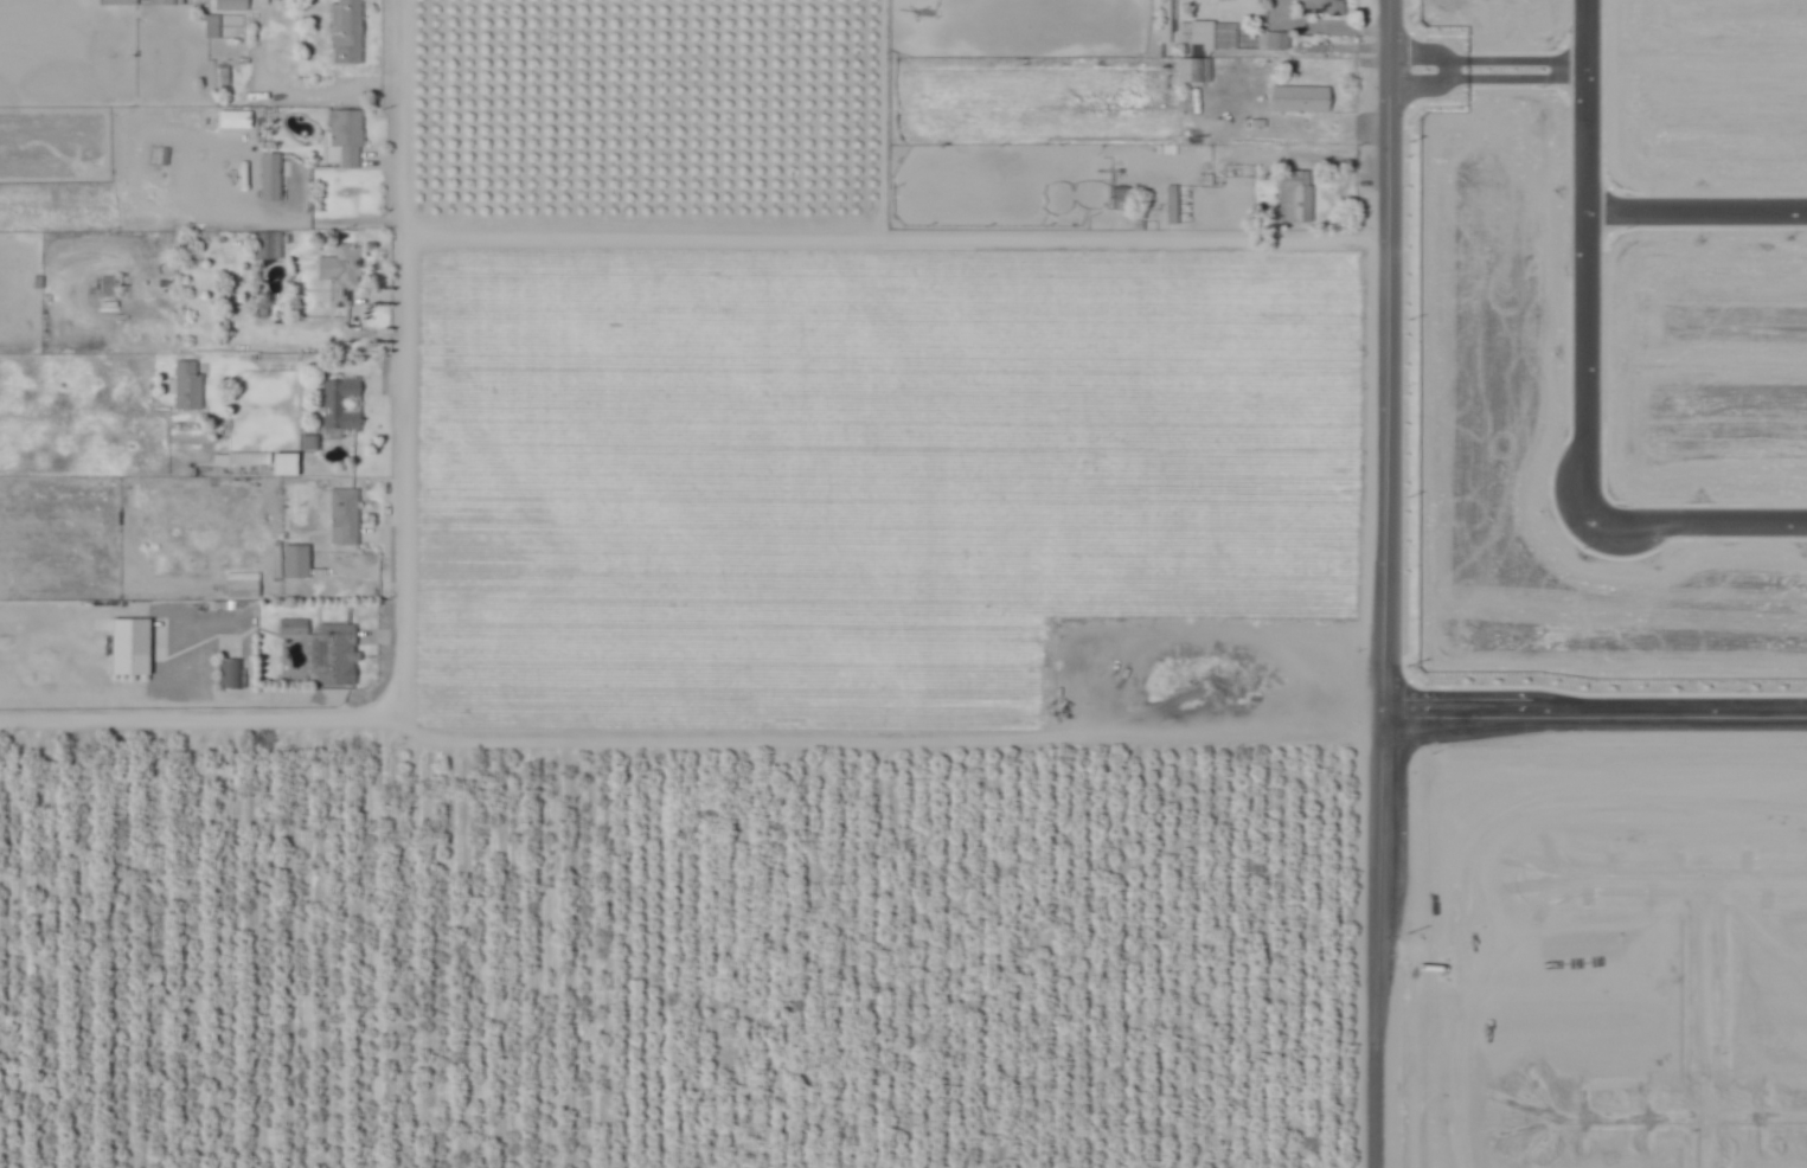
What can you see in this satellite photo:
building: (116, 1)
building: (174, 2)
building: (232, 5)
building: (1325, 6)
building: (210, 25)
road: (1319, 27)
building: (1185, 28)
building: (348, 31)
building: (1274, 39)
building: (1306, 41)
building: (1191, 69)
road: (1482, 73)
building: (1282, 82)
building: (348, 135)
building: (210, 171)
building: (271, 178)
building: (1295, 195)
building: (1120, 198)
building: (1168, 204)
road: (1696, 214)
road: (1248, 242)
building: (269, 245)
building: (213, 249)
road: (1583, 265)
building: (345, 274)
building: (109, 285)
road: (403, 362)
building: (188, 386)
building: (342, 393)
building: (306, 442)
building: (251, 445)
building: (289, 451)
building: (282, 463)
building: (345, 516)
road: (1694, 531)
building: (299, 563)
building: (244, 578)
road: (1379, 584)
building: (295, 628)
building: (128, 646)
building: (334, 655)
building: (231, 675)
crop: (756, 680)
road: (903, 725)
road: (1667, 875)
road: (1706, 1021)
road: (1661, 1111)

